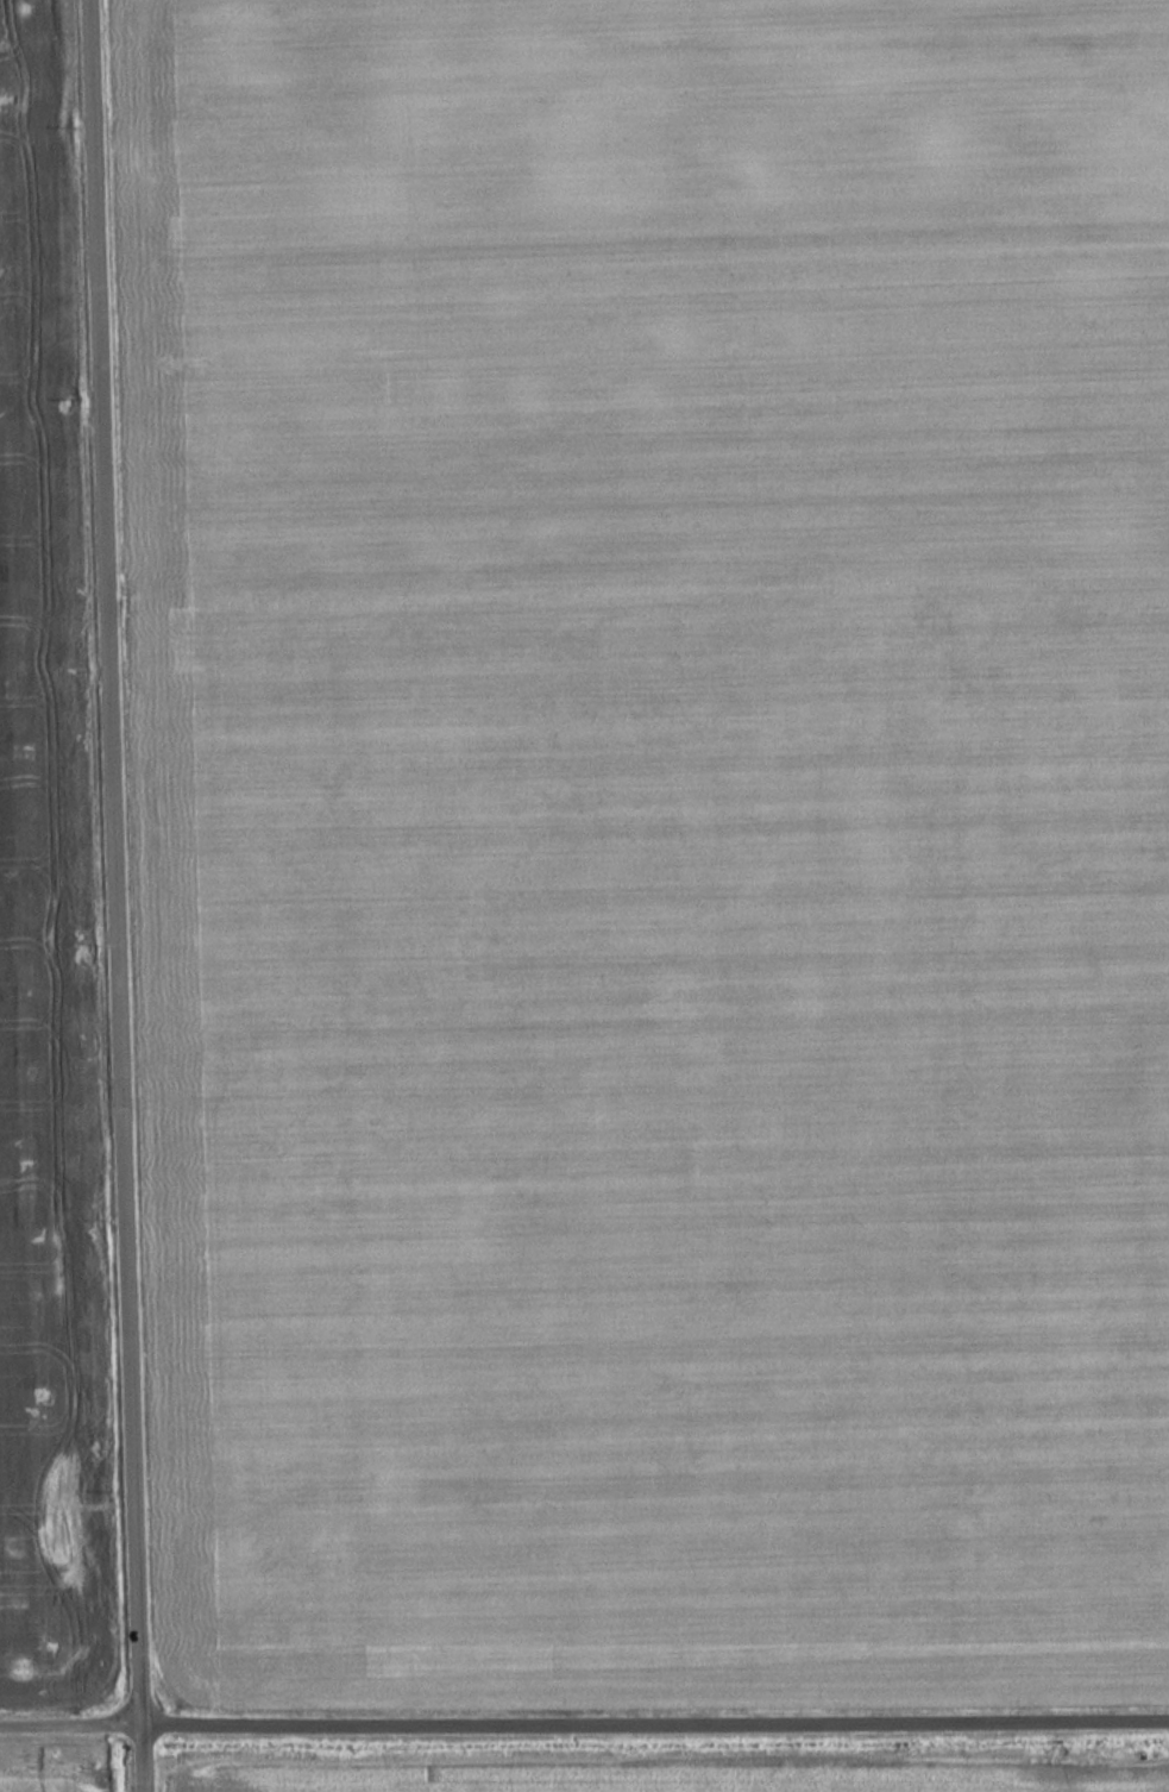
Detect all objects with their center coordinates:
crop: (648, 846)
road: (118, 895)
crop: (46, 929)
road: (584, 1727)
crop: (49, 1781)
crop: (1164, 1787)
crop: (1027, 1788)

